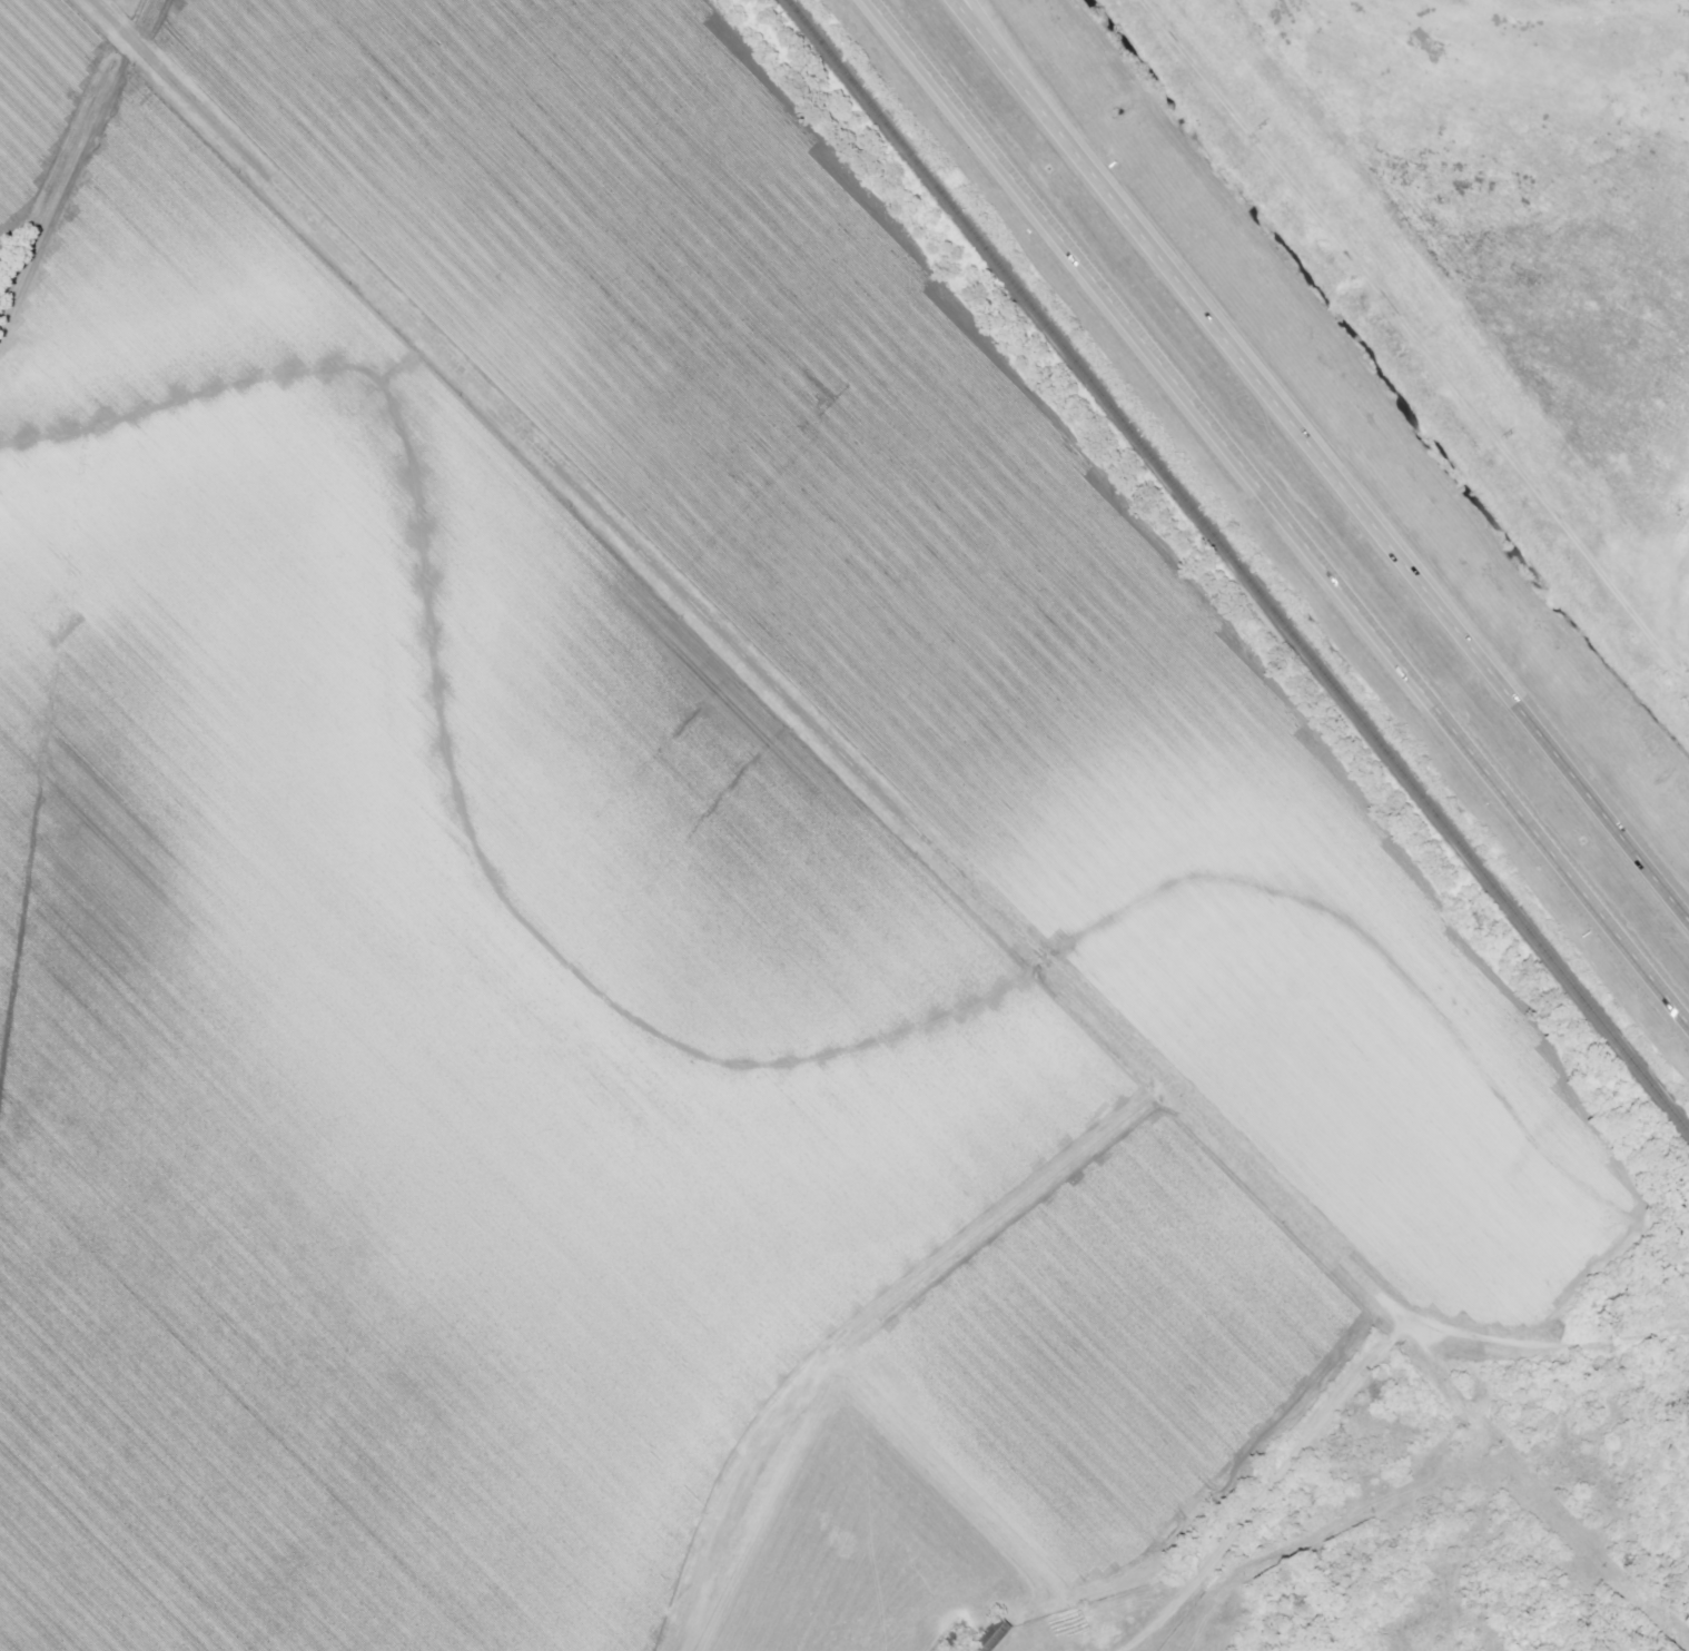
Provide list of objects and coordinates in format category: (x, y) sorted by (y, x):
road: (977, 24)
road: (981, 24)
road: (920, 59)
power tower: (1265, 127)
power tower: (1518, 434)
road: (1343, 478)
railway: (1238, 565)
road: (1329, 569)
road: (816, 726)
building: (991, 1637)

